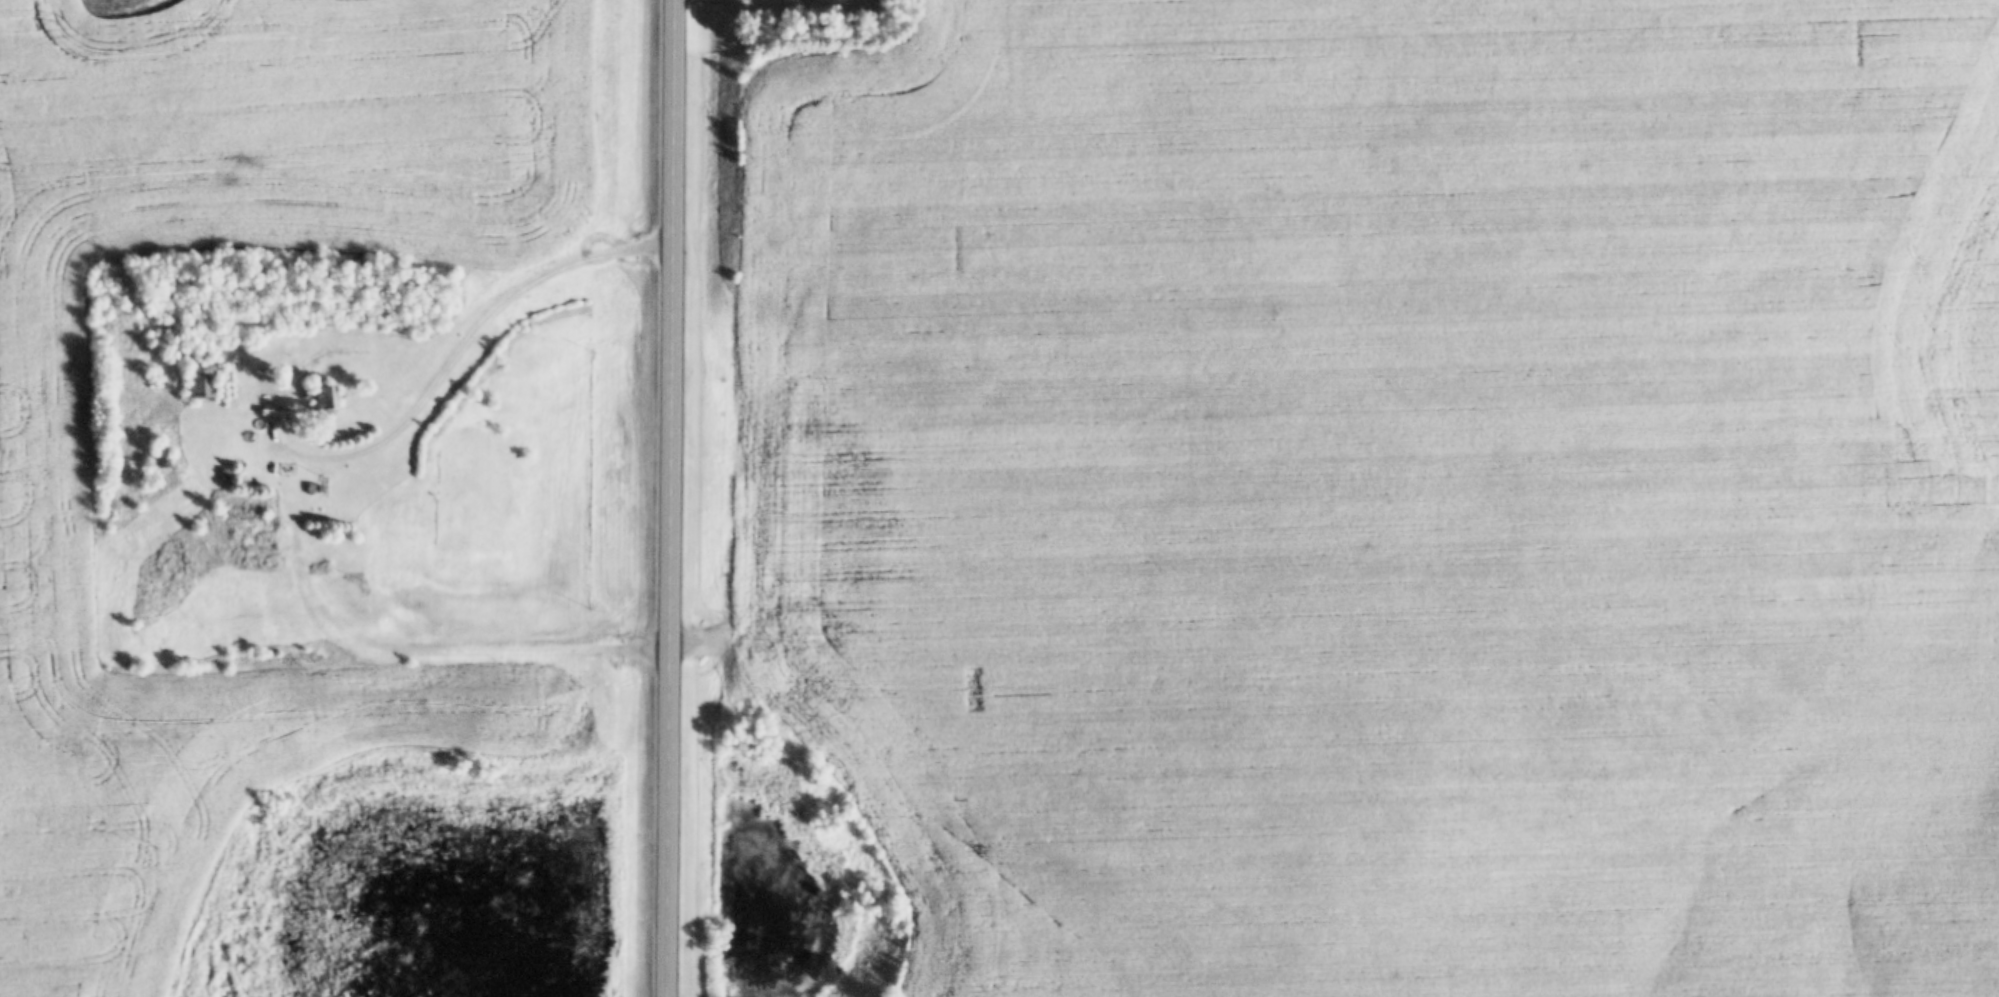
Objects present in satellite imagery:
road: (459, 364)
building: (198, 379)
building: (322, 400)
road: (676, 498)
road: (290, 670)

